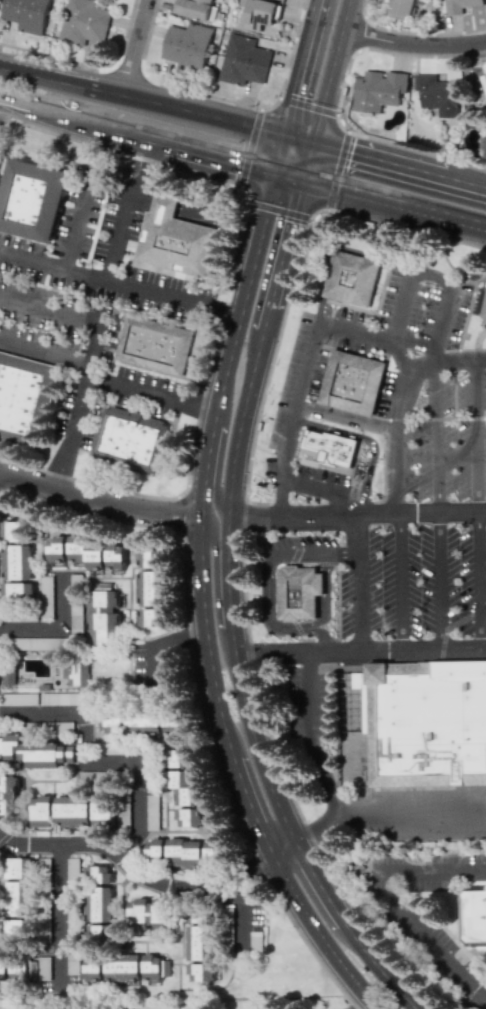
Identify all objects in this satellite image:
road: (322, 1)
building: (460, 5)
building: (193, 8)
building: (402, 9)
building: (27, 14)
building: (259, 14)
building: (84, 22)
road: (413, 43)
building: (188, 45)
road: (134, 47)
building: (244, 61)
road: (304, 68)
road: (324, 90)
building: (378, 90)
building: (439, 96)
road: (143, 100)
road: (309, 102)
road: (54, 111)
road: (250, 146)
road: (192, 151)
road: (281, 154)
road: (386, 157)
building: (485, 158)
road: (338, 170)
road: (288, 179)
building: (32, 199)
road: (393, 202)
traffic signals: (270, 207)
road: (281, 209)
road: (133, 213)
traffic signals: (294, 213)
building: (175, 240)
road: (285, 245)
building: (352, 278)
road: (434, 282)
road: (119, 288)
building: (482, 304)
parking lot: (424, 308)
road: (49, 310)
parking lot: (349, 315)
road: (466, 317)
road: (265, 319)
road: (96, 329)
road: (477, 339)
parking lot: (346, 343)
building: (153, 344)
road: (472, 350)
road: (400, 357)
road: (104, 380)
parking lot: (289, 380)
building: (352, 383)
parking lot: (385, 393)
building: (24, 398)
road: (300, 402)
road: (346, 419)
road: (429, 419)
road: (240, 423)
road: (70, 431)
road: (476, 438)
building: (129, 439)
road: (394, 439)
road: (434, 439)
parking lot: (447, 439)
road: (370, 441)
building: (328, 446)
road: (219, 453)
road: (304, 462)
road: (206, 464)
parking lot: (269, 469)
parking lot: (323, 473)
road: (314, 485)
road: (100, 496)
road: (278, 497)
road: (379, 514)
road: (250, 517)
building: (13, 532)
parking lot: (299, 542)
road: (242, 545)
building: (56, 550)
building: (85, 553)
building: (115, 559)
building: (145, 559)
building: (17, 562)
road: (268, 566)
road: (216, 575)
parking lot: (426, 581)
road: (480, 581)
road: (438, 582)
road: (354, 583)
road: (398, 583)
building: (147, 588)
building: (161, 589)
building: (298, 592)
building: (17, 593)
building: (46, 595)
road: (326, 595)
building: (101, 612)
road: (56, 629)
road: (321, 634)
building: (26, 643)
road: (158, 643)
road: (360, 652)
building: (74, 671)
road: (240, 682)
building: (61, 698)
building: (19, 699)
parking lot: (308, 703)
building: (110, 722)
building: (143, 723)
building: (428, 725)
road: (311, 736)
road: (87, 752)
building: (185, 790)
building: (8, 796)
road: (248, 807)
building: (72, 810)
building: (102, 810)
building: (41, 811)
building: (152, 812)
building: (189, 817)
road: (405, 817)
road: (309, 829)
road: (282, 846)
building: (155, 847)
building: (184, 852)
building: (15, 868)
road: (432, 871)
road: (136, 873)
road: (317, 881)
building: (98, 893)
building: (13, 898)
building: (150, 914)
building: (475, 915)
road: (60, 917)
road: (243, 917)
building: (19, 929)
building: (99, 933)
road: (318, 935)
road: (428, 937)
building: (196, 942)
building: (209, 942)
building: (123, 967)
building: (156, 967)
road: (379, 967)
building: (4, 968)
building: (24, 969)
building: (201, 972)

